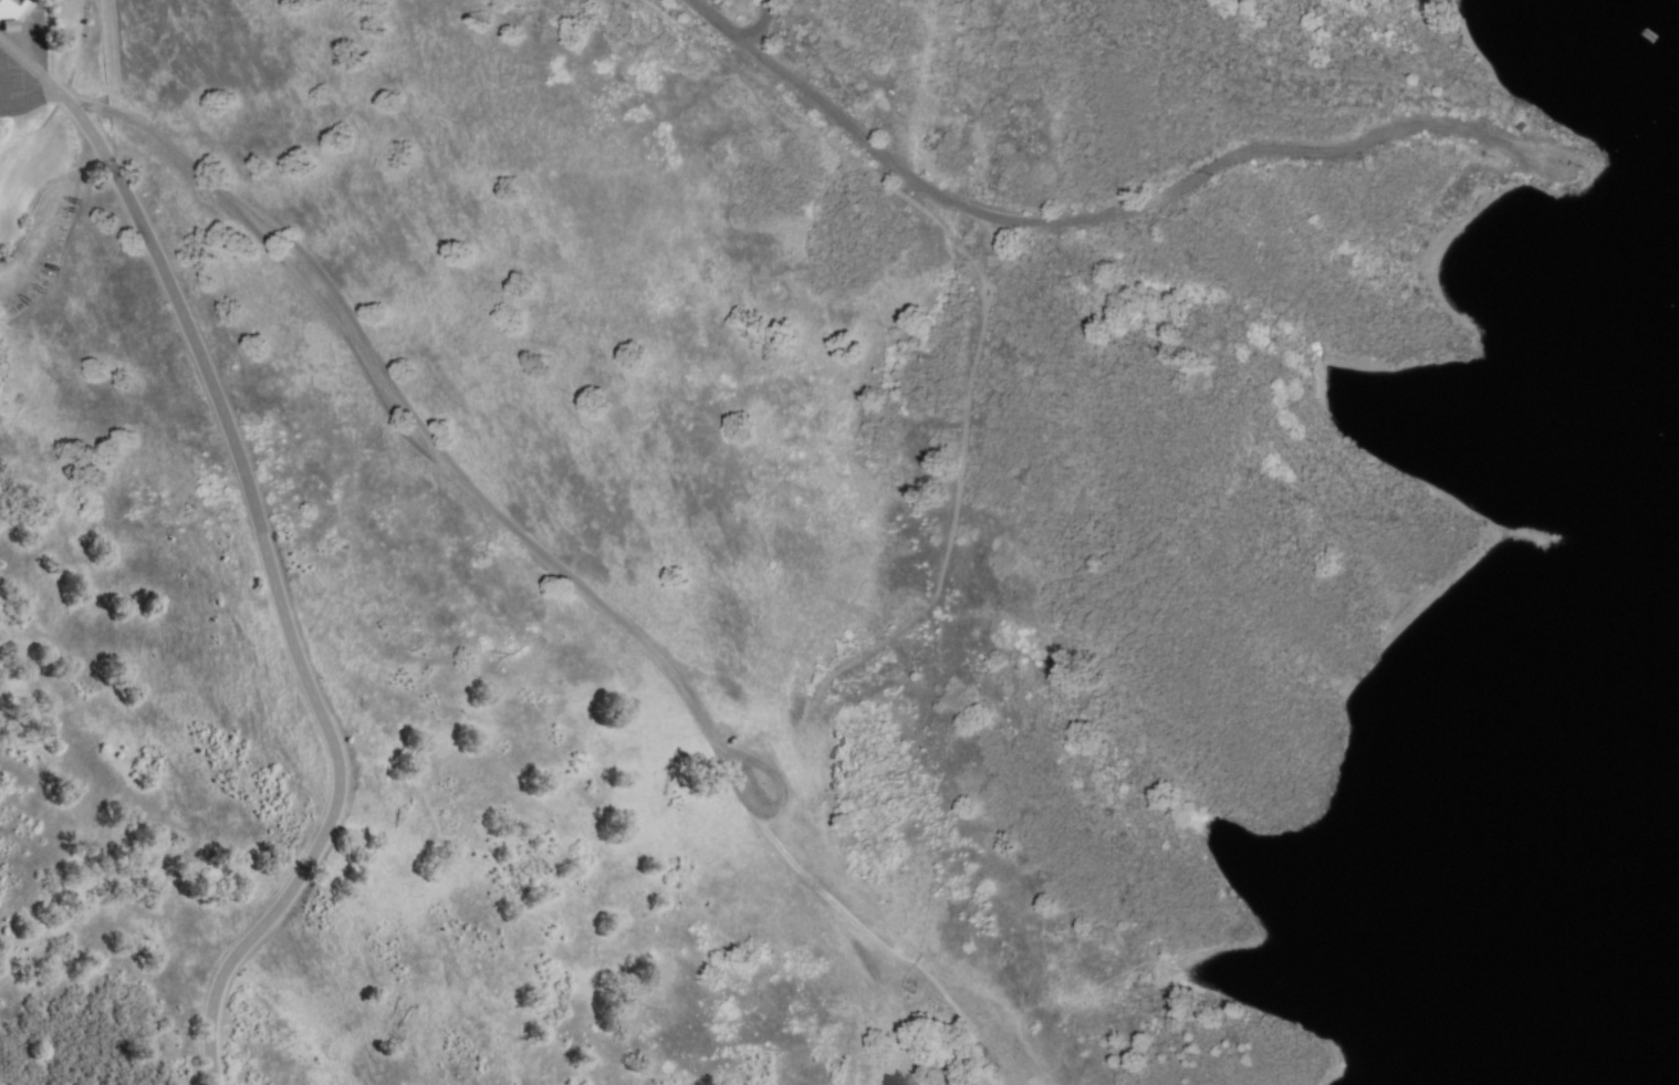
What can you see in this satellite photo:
road: (739, 27)
road: (414, 30)
road: (786, 32)
road: (711, 85)
road: (702, 447)

